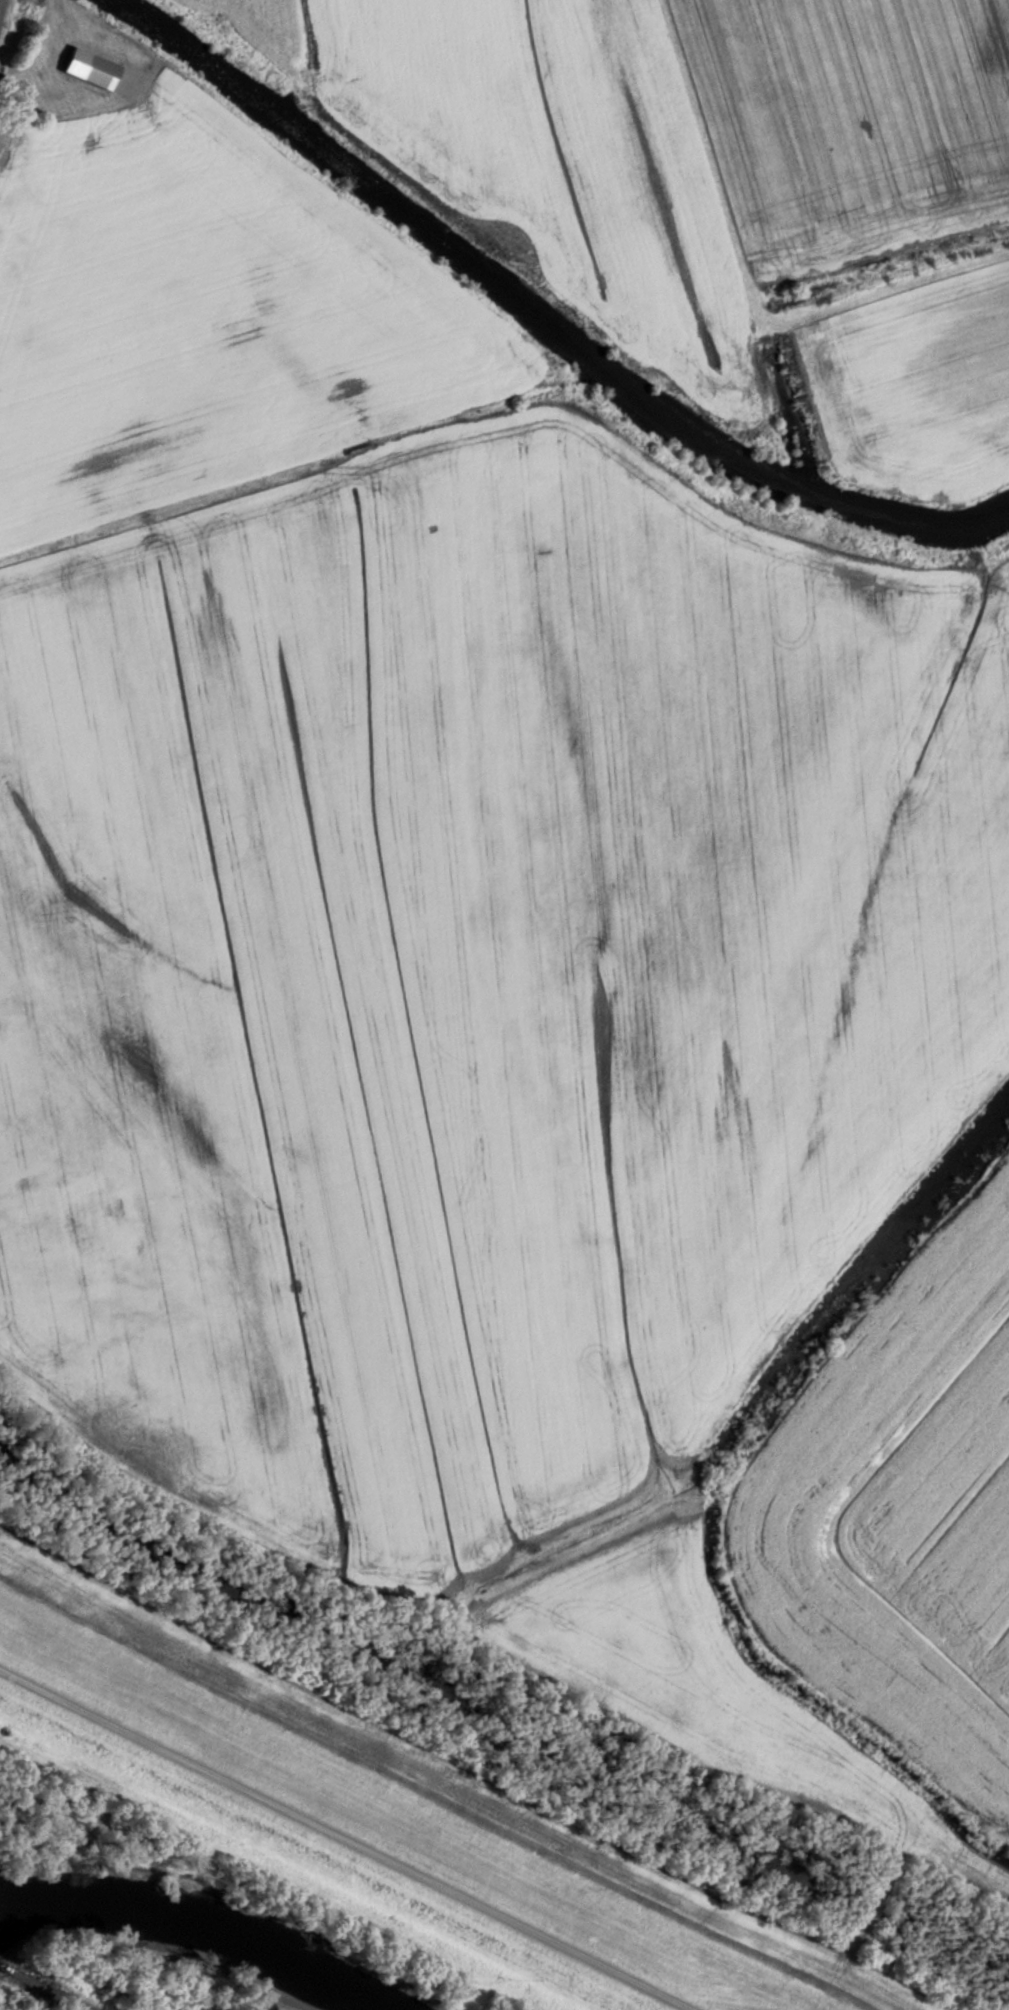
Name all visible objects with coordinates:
road: (0, 1)
building: (95, 67)
road: (741, 282)
road: (346, 1838)
river: (179, 1911)
railway: (6, 1967)
railway: (50, 1990)

